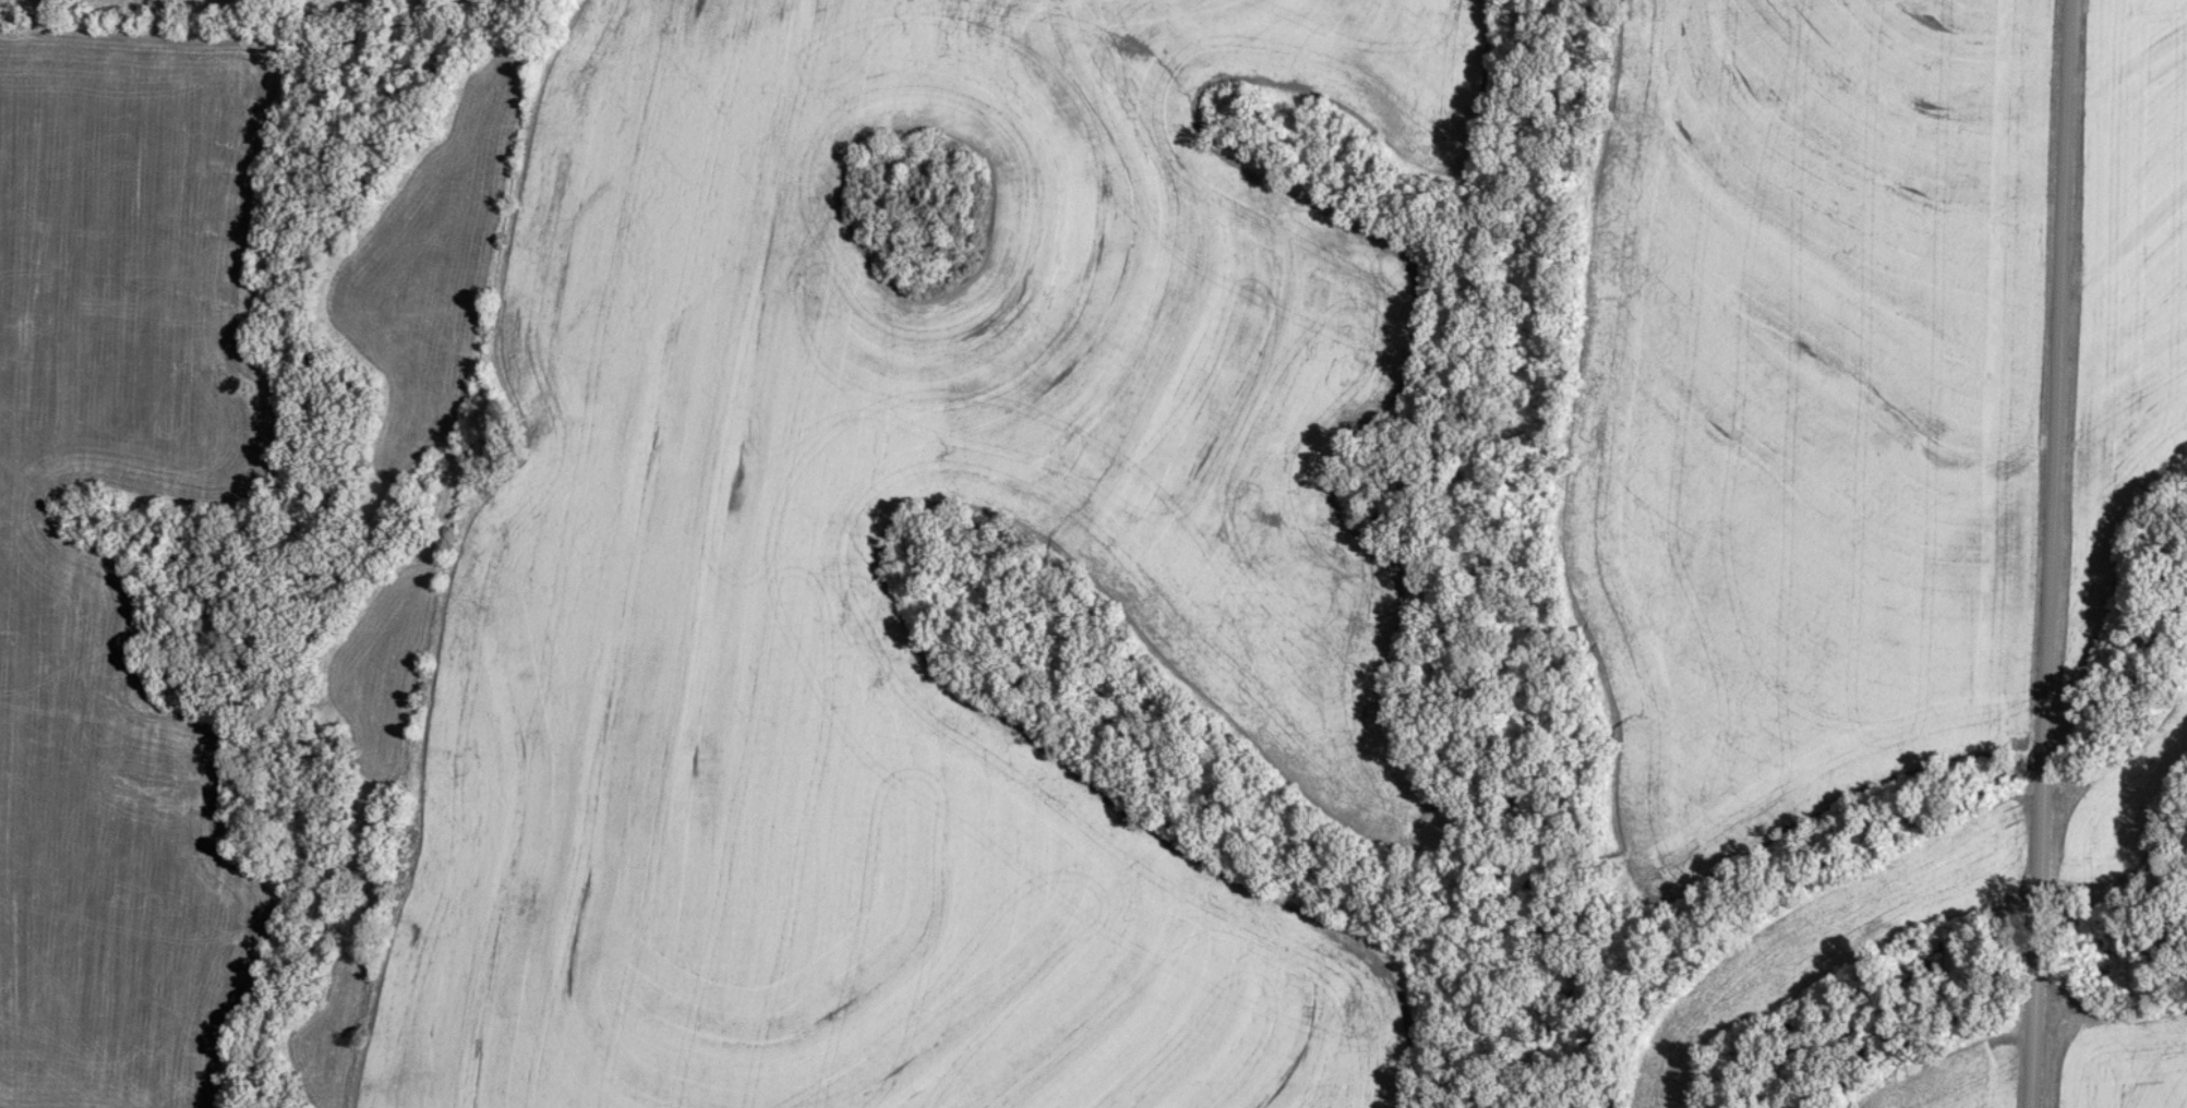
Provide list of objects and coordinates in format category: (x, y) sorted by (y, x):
road: (2045, 554)

